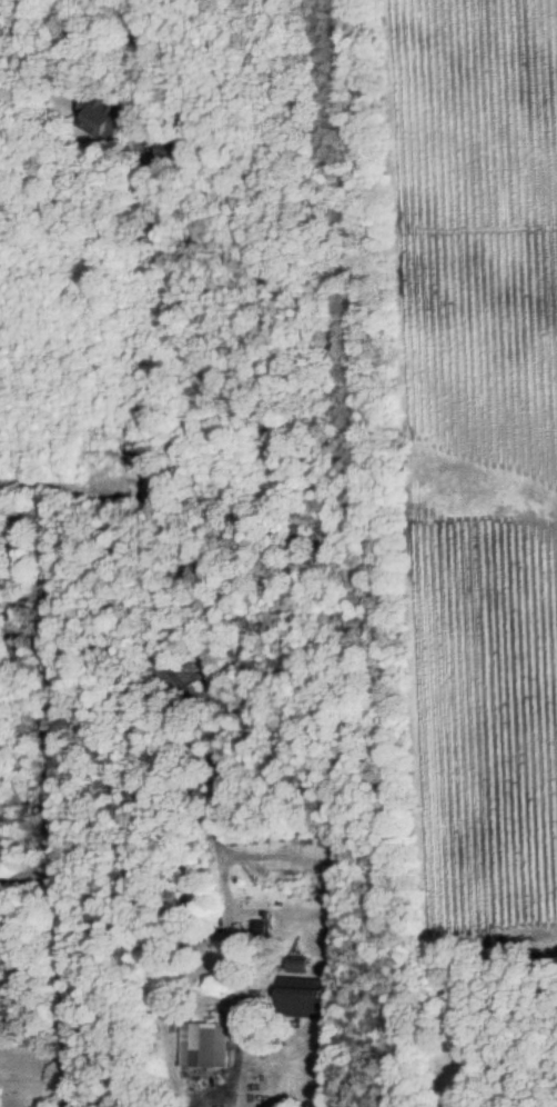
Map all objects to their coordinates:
building: (100, 119)
road: (57, 200)
building: (261, 930)
road: (55, 964)
building: (301, 997)
building: (203, 1045)

